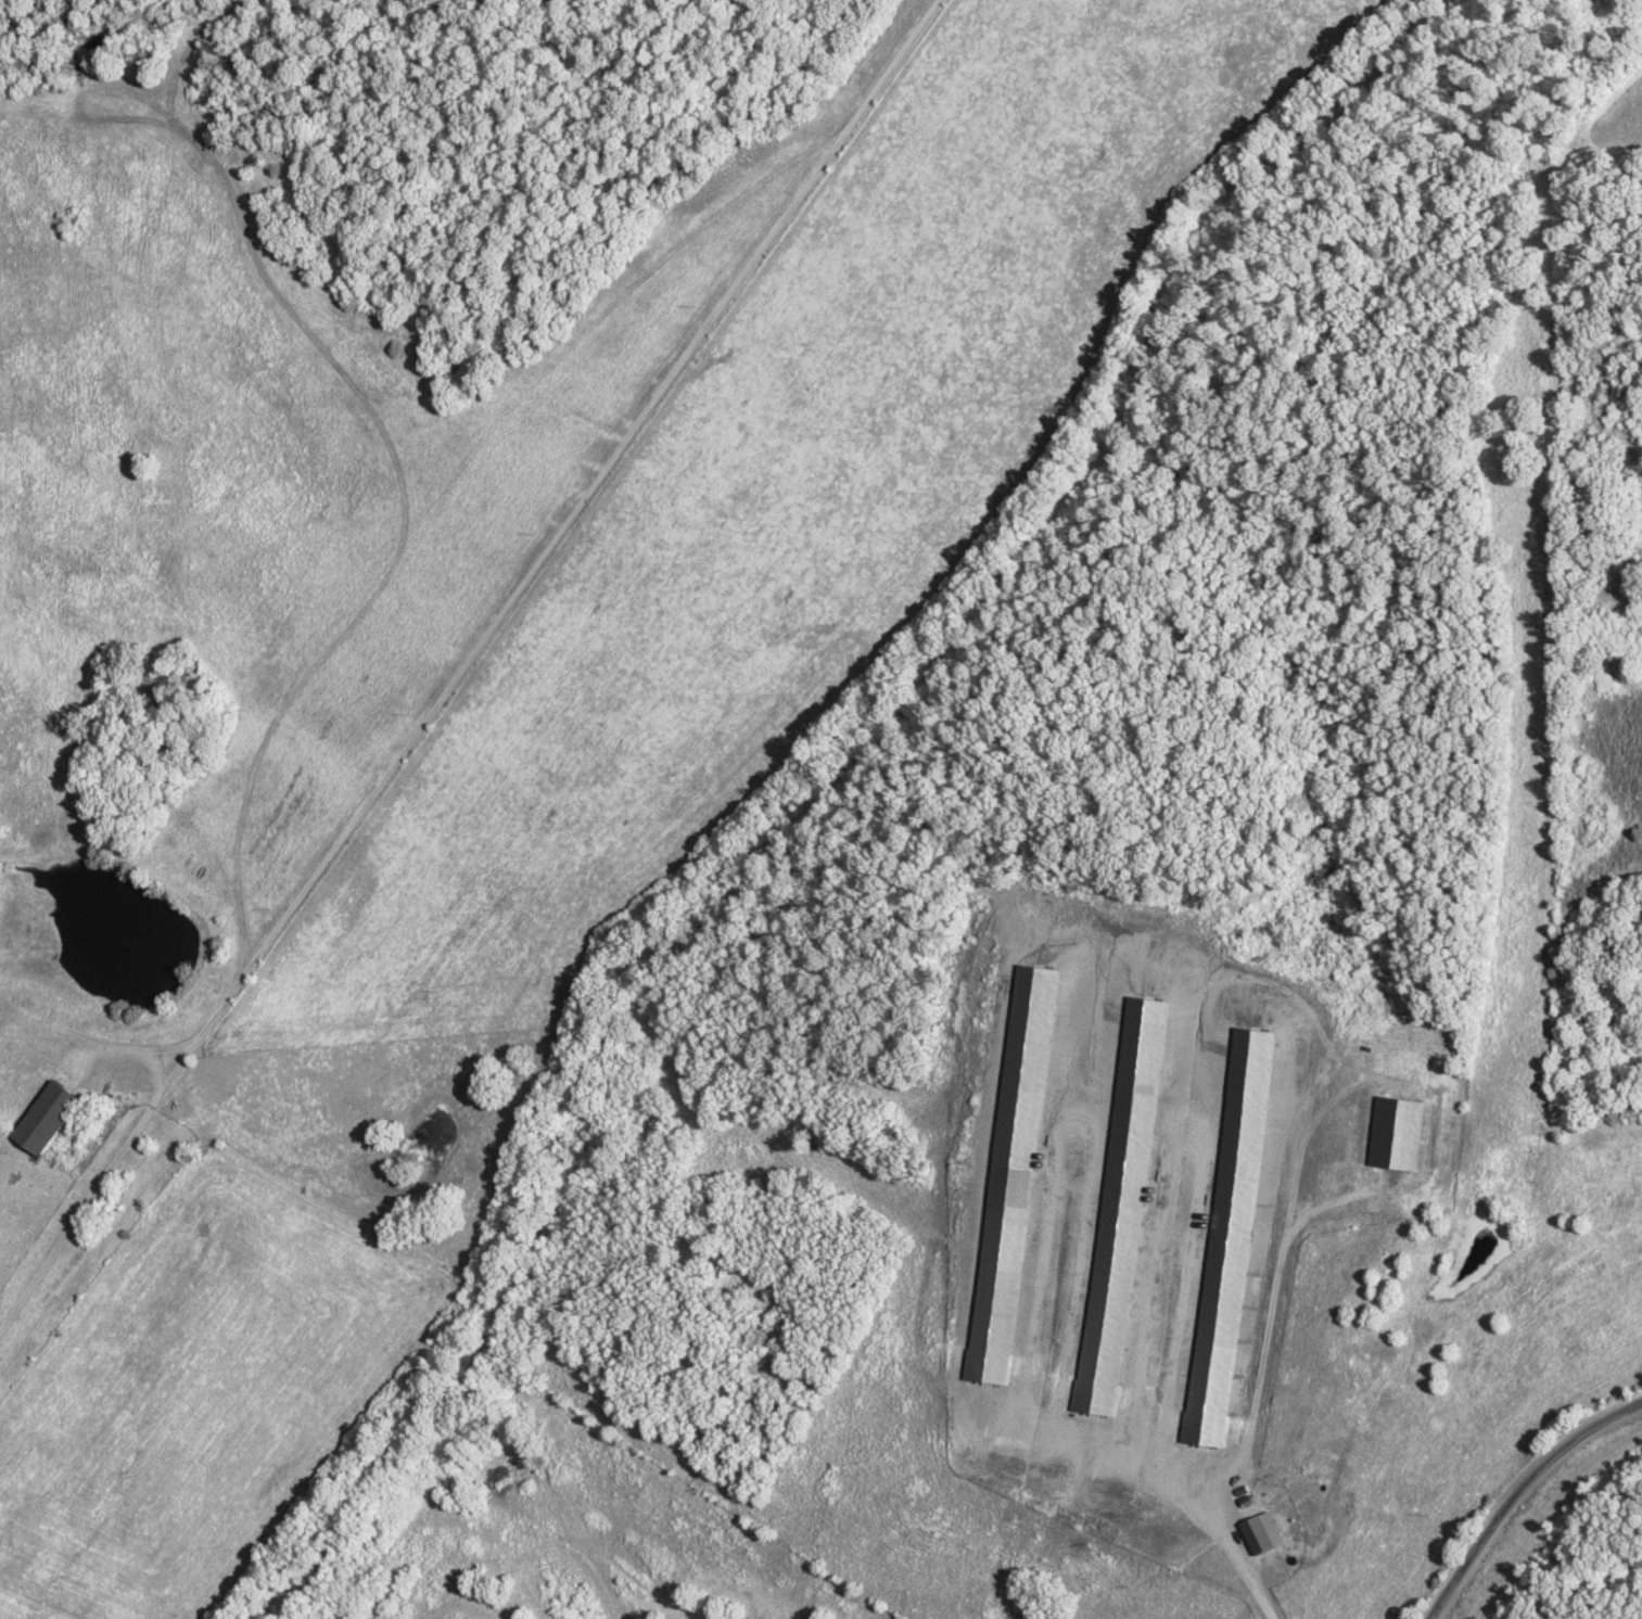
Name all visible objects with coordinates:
road: (468, 665)
building: (55, 1117)
road: (1518, 1493)
road: (1239, 1563)

